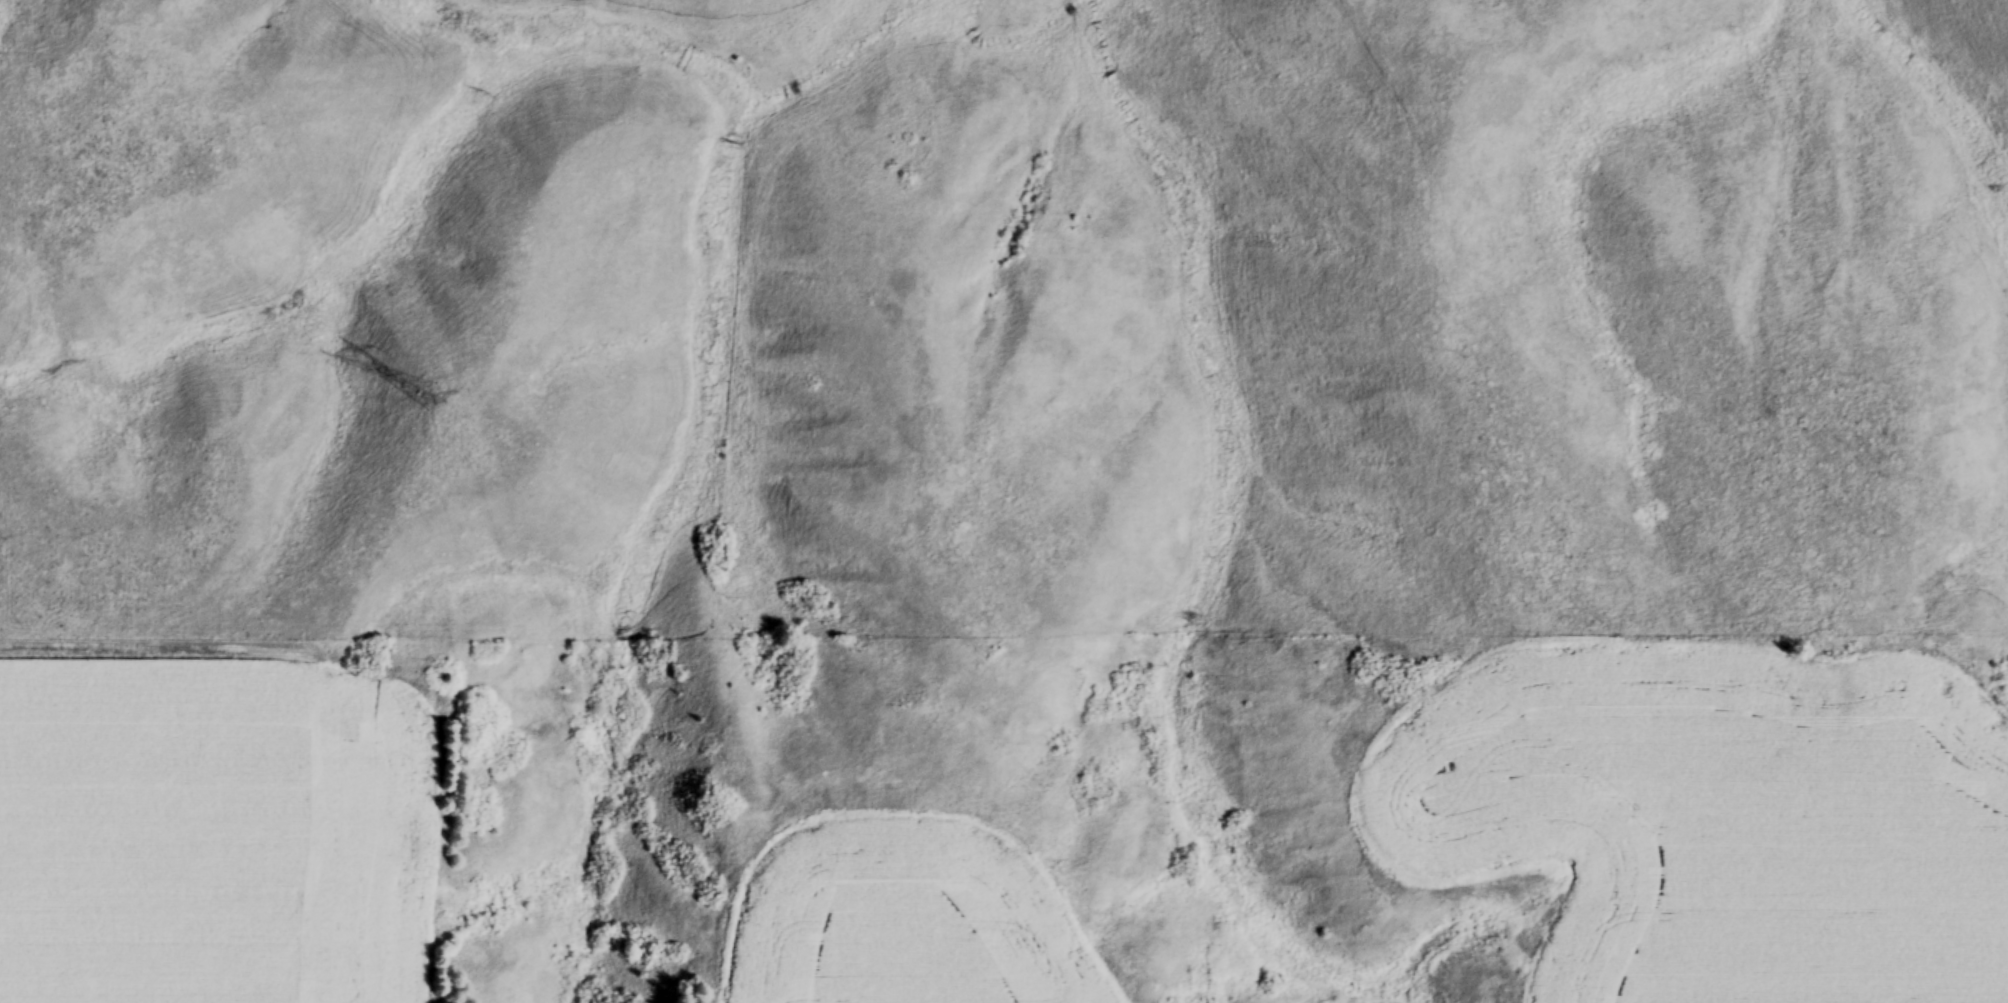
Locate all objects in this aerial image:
power tower: (436, 400)

